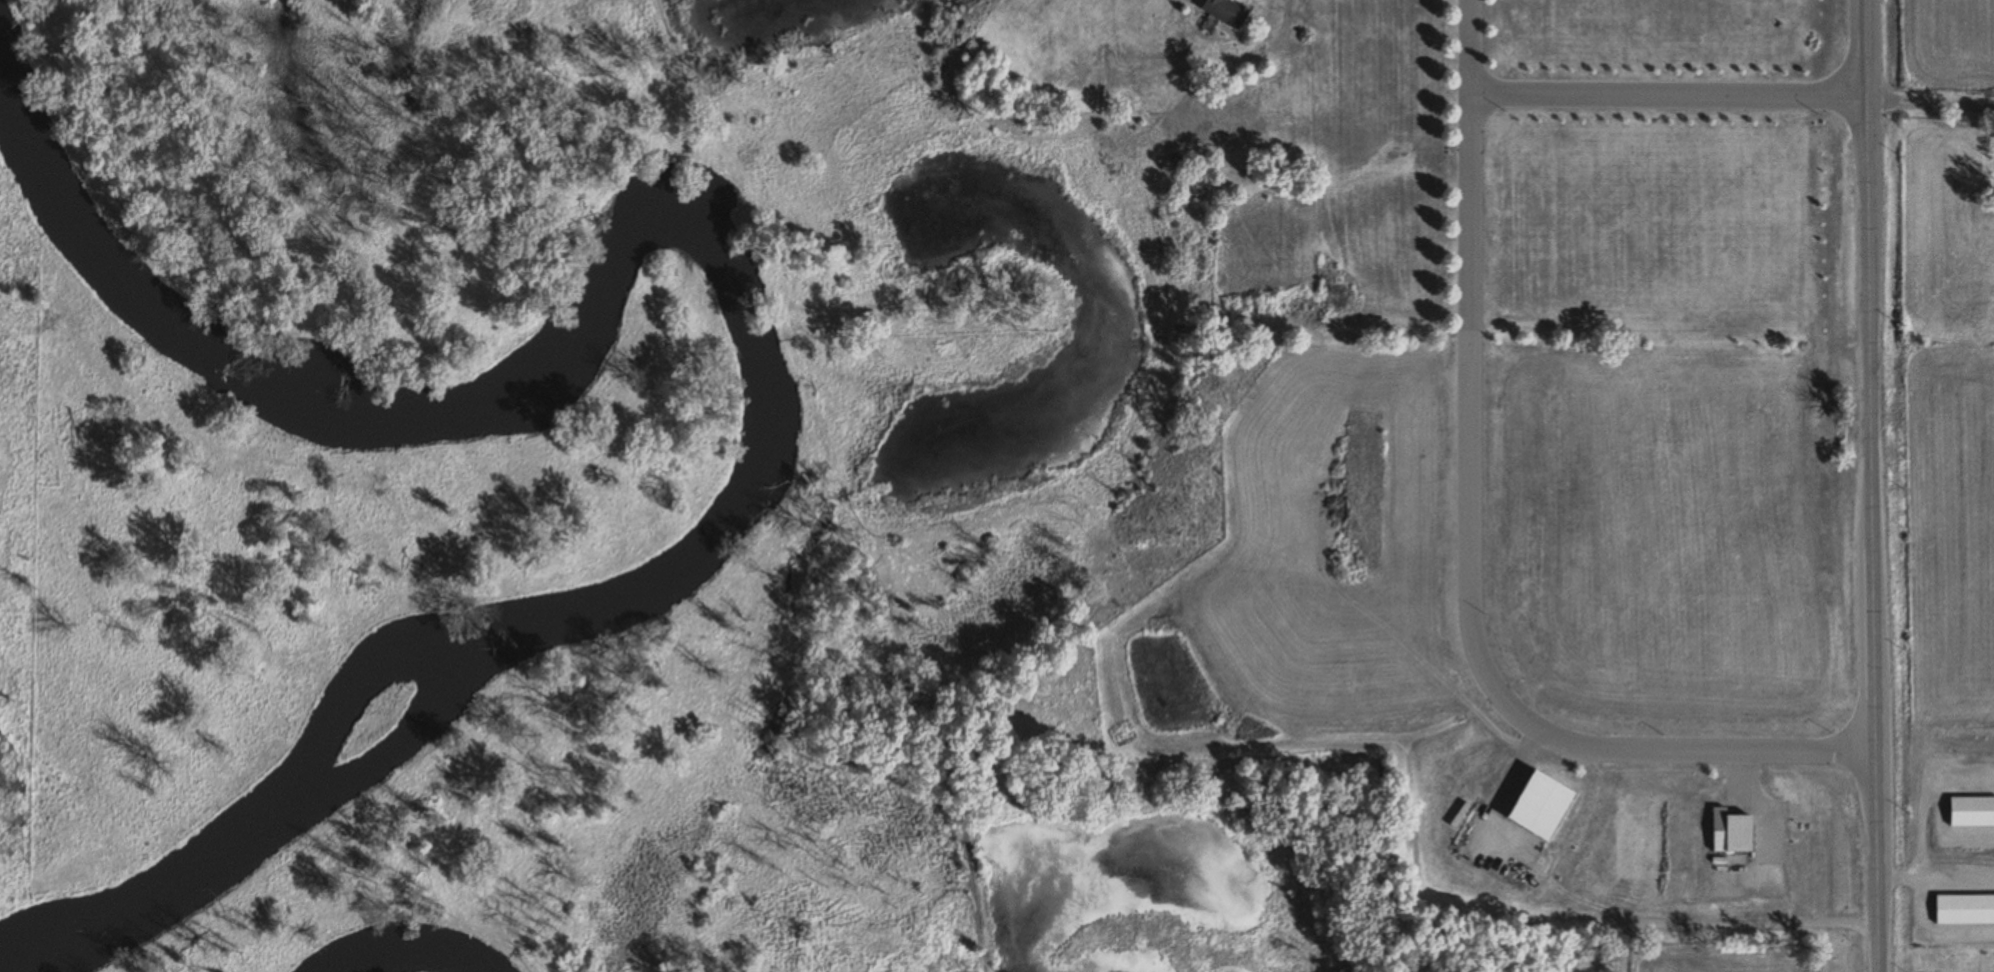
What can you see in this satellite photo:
building: (1223, 12)
road: (1668, 98)
road: (1930, 104)
river: (150, 300)
river: (765, 400)
road: (1870, 486)
road: (1471, 547)
building: (1537, 806)
building: (1970, 811)
building: (1729, 828)
river: (184, 878)
building: (1963, 910)
river: (407, 954)

